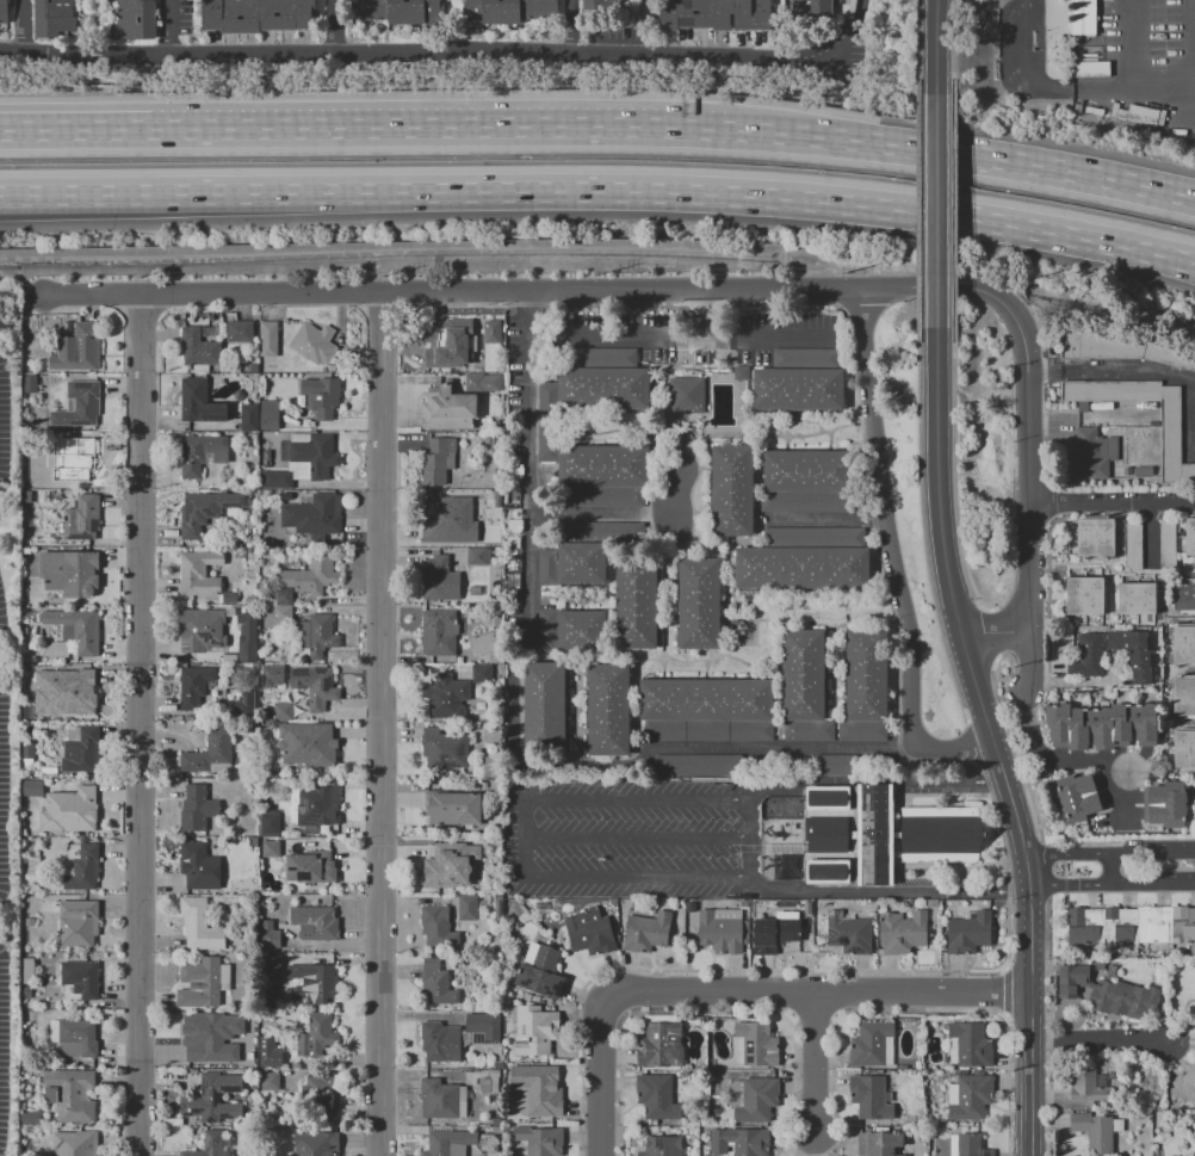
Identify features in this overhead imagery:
building: (602, 6)
building: (812, 7)
building: (507, 10)
building: (2, 11)
building: (400, 11)
building: (258, 14)
building: (714, 14)
building: (52, 17)
building: (1082, 17)
building: (137, 19)
road: (1194, 20)
road: (569, 25)
road: (24, 27)
road: (166, 29)
road: (343, 29)
road: (844, 37)
road: (917, 45)
road: (952, 45)
road: (936, 47)
road: (1122, 47)
road: (405, 56)
road: (1018, 70)
road: (1158, 87)
road: (1097, 93)
road: (438, 126)
road: (75, 130)
road: (960, 155)
road: (600, 192)
road: (917, 210)
road: (936, 210)
road: (953, 210)
road: (930, 288)
road: (442, 292)
road: (526, 311)
road: (700, 313)
building: (494, 323)
building: (239, 330)
building: (209, 333)
road: (676, 333)
building: (267, 339)
building: (311, 342)
building: (454, 342)
building: (1120, 347)
building: (78, 348)
building: (198, 348)
building: (602, 357)
building: (805, 358)
road: (1022, 358)
road: (1109, 369)
building: (741, 372)
building: (29, 382)
building: (482, 382)
building: (603, 388)
building: (798, 389)
building: (686, 395)
building: (321, 396)
building: (547, 400)
building: (198, 402)
building: (79, 404)
building: (448, 408)
building: (268, 414)
building: (248, 416)
road: (142, 431)
building: (1169, 431)
building: (264, 440)
building: (547, 444)
building: (200, 453)
building: (265, 453)
building: (1094, 453)
building: (304, 459)
building: (79, 460)
building: (436, 460)
road: (1028, 460)
building: (603, 465)
building: (810, 470)
building: (1127, 470)
building: (1143, 471)
road: (953, 477)
building: (732, 489)
building: (26, 496)
building: (602, 496)
building: (807, 500)
road: (1113, 503)
building: (489, 512)
building: (194, 513)
road: (582, 513)
building: (312, 514)
building: (81, 517)
road: (886, 518)
road: (828, 519)
building: (436, 520)
road: (922, 527)
building: (603, 532)
road: (1150, 534)
building: (1190, 536)
building: (815, 537)
building: (1095, 537)
road: (941, 540)
building: (1133, 545)
building: (1166, 545)
building: (496, 552)
building: (477, 556)
building: (581, 564)
building: (547, 565)
building: (803, 568)
building: (69, 571)
building: (198, 573)
building: (438, 576)
road: (1027, 576)
building: (303, 579)
building: (1084, 595)
building: (228, 596)
building: (1137, 599)
building: (698, 602)
building: (636, 605)
road: (527, 620)
building: (203, 628)
building: (303, 628)
building: (547, 630)
building: (581, 630)
building: (73, 631)
building: (438, 632)
road: (983, 632)
road: (992, 632)
building: (246, 635)
building: (483, 644)
building: (1183, 644)
building: (1090, 654)
road: (1028, 659)
road: (1, 660)
building: (481, 673)
building: (804, 674)
building: (866, 674)
building: (273, 675)
building: (35, 676)
road: (1076, 682)
building: (315, 685)
building: (193, 686)
building: (85, 692)
building: (446, 696)
building: (1183, 696)
building: (706, 700)
building: (243, 703)
building: (544, 706)
building: (281, 710)
building: (608, 710)
road: (383, 724)
building: (1101, 725)
building: (708, 730)
building: (809, 730)
building: (862, 730)
building: (307, 743)
road: (973, 743)
road: (1010, 746)
road: (953, 747)
building: (444, 748)
road: (781, 748)
building: (27, 749)
building: (80, 749)
building: (1184, 749)
building: (209, 752)
parking lot: (8, 754)
building: (490, 759)
road: (1079, 762)
building: (838, 764)
building: (694, 765)
building: (49, 771)
building: (495, 785)
building: (32, 787)
building: (1079, 796)
building: (826, 798)
road: (1011, 800)
building: (315, 804)
building: (1164, 804)
park: (780, 806)
building: (196, 808)
building: (453, 809)
building: (69, 810)
building: (267, 824)
building: (825, 830)
building: (874, 834)
building: (941, 834)
road: (522, 835)
parking lot: (631, 835)
road: (638, 836)
building: (253, 841)
building: (271, 848)
road: (753, 852)
road: (1109, 855)
road: (141, 861)
road: (1004, 861)
building: (33, 865)
building: (82, 865)
building: (448, 865)
building: (198, 866)
building: (310, 866)
road: (1041, 868)
road: (1112, 870)
building: (828, 871)
road: (1112, 884)
building: (543, 904)
building: (468, 907)
building: (499, 908)
building: (76, 921)
building: (29, 922)
building: (315, 922)
building: (199, 923)
road: (1030, 925)
building: (1131, 925)
building: (436, 926)
building: (723, 929)
building: (589, 931)
building: (646, 932)
building: (902, 932)
building: (775, 933)
building: (968, 933)
building: (850, 934)
building: (270, 935)
building: (271, 964)
road: (1003, 966)
road: (702, 969)
building: (27, 971)
building: (539, 971)
building: (79, 979)
building: (203, 982)
building: (312, 982)
building: (435, 983)
building: (26, 991)
road: (1005, 991)
building: (1108, 993)
road: (817, 994)
building: (26, 1003)
road: (917, 1010)
road: (640, 1012)
road: (812, 1013)
road: (1004, 1015)
road: (1048, 1026)
building: (531, 1028)
building: (316, 1034)
building: (74, 1036)
building: (457, 1036)
building: (206, 1037)
road: (1096, 1038)
building: (661, 1044)
building: (755, 1044)
building: (872, 1044)
building: (971, 1044)
building: (270, 1052)
road: (817, 1064)
road: (1030, 1075)
road: (599, 1077)
building: (268, 1080)
building: (489, 1082)
building: (1185, 1082)
building: (1088, 1084)
road: (1008, 1086)
road: (793, 1088)
road: (832, 1089)
building: (535, 1090)
building: (321, 1093)
building: (70, 1094)
building: (657, 1096)
building: (869, 1096)
building: (971, 1096)
building: (212, 1098)
building: (442, 1099)
building: (754, 1099)
building: (30, 1118)
building: (1094, 1132)
building: (539, 1140)
building: (739, 1140)
building: (79, 1143)
building: (448, 1143)
building: (878, 1143)
building: (211, 1144)
building: (315, 1144)
building: (662, 1145)
building: (971, 1145)
building: (1175, 1155)
building: (1194, 1155)

